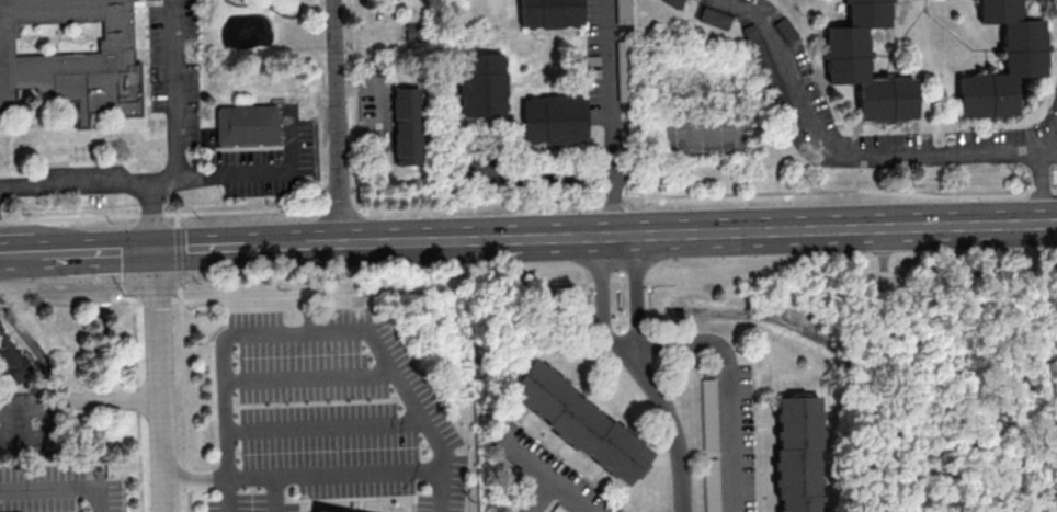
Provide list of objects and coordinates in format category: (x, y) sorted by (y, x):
road: (270, 7)
building: (998, 10)
building: (623, 11)
building: (549, 13)
building: (866, 13)
road: (953, 34)
road: (39, 35)
road: (899, 38)
road: (58, 39)
road: (78, 42)
building: (1022, 47)
road: (879, 53)
building: (845, 54)
road: (984, 58)
building: (71, 61)
building: (623, 69)
building: (481, 84)
building: (987, 94)
road: (372, 95)
building: (886, 98)
road: (175, 103)
building: (554, 118)
road: (609, 120)
road: (337, 123)
building: (249, 125)
building: (407, 126)
park: (704, 138)
road: (849, 152)
road: (262, 173)
road: (112, 183)
road: (1042, 185)
road: (528, 202)
road: (546, 240)
road: (18, 258)
road: (530, 288)
road: (637, 292)
road: (598, 304)
road: (310, 331)
road: (32, 349)
building: (13, 359)
road: (311, 378)
road: (161, 382)
road: (728, 384)
road: (101, 399)
road: (138, 408)
building: (708, 413)
parking lot: (329, 414)
building: (579, 421)
road: (672, 424)
road: (329, 429)
building: (798, 453)
road: (547, 473)
road: (337, 475)
road: (198, 477)
building: (711, 485)
road: (60, 486)
parking lot: (59, 488)
road: (275, 493)
road: (541, 496)
building: (557, 509)
building: (322, 511)
building: (334, 511)

